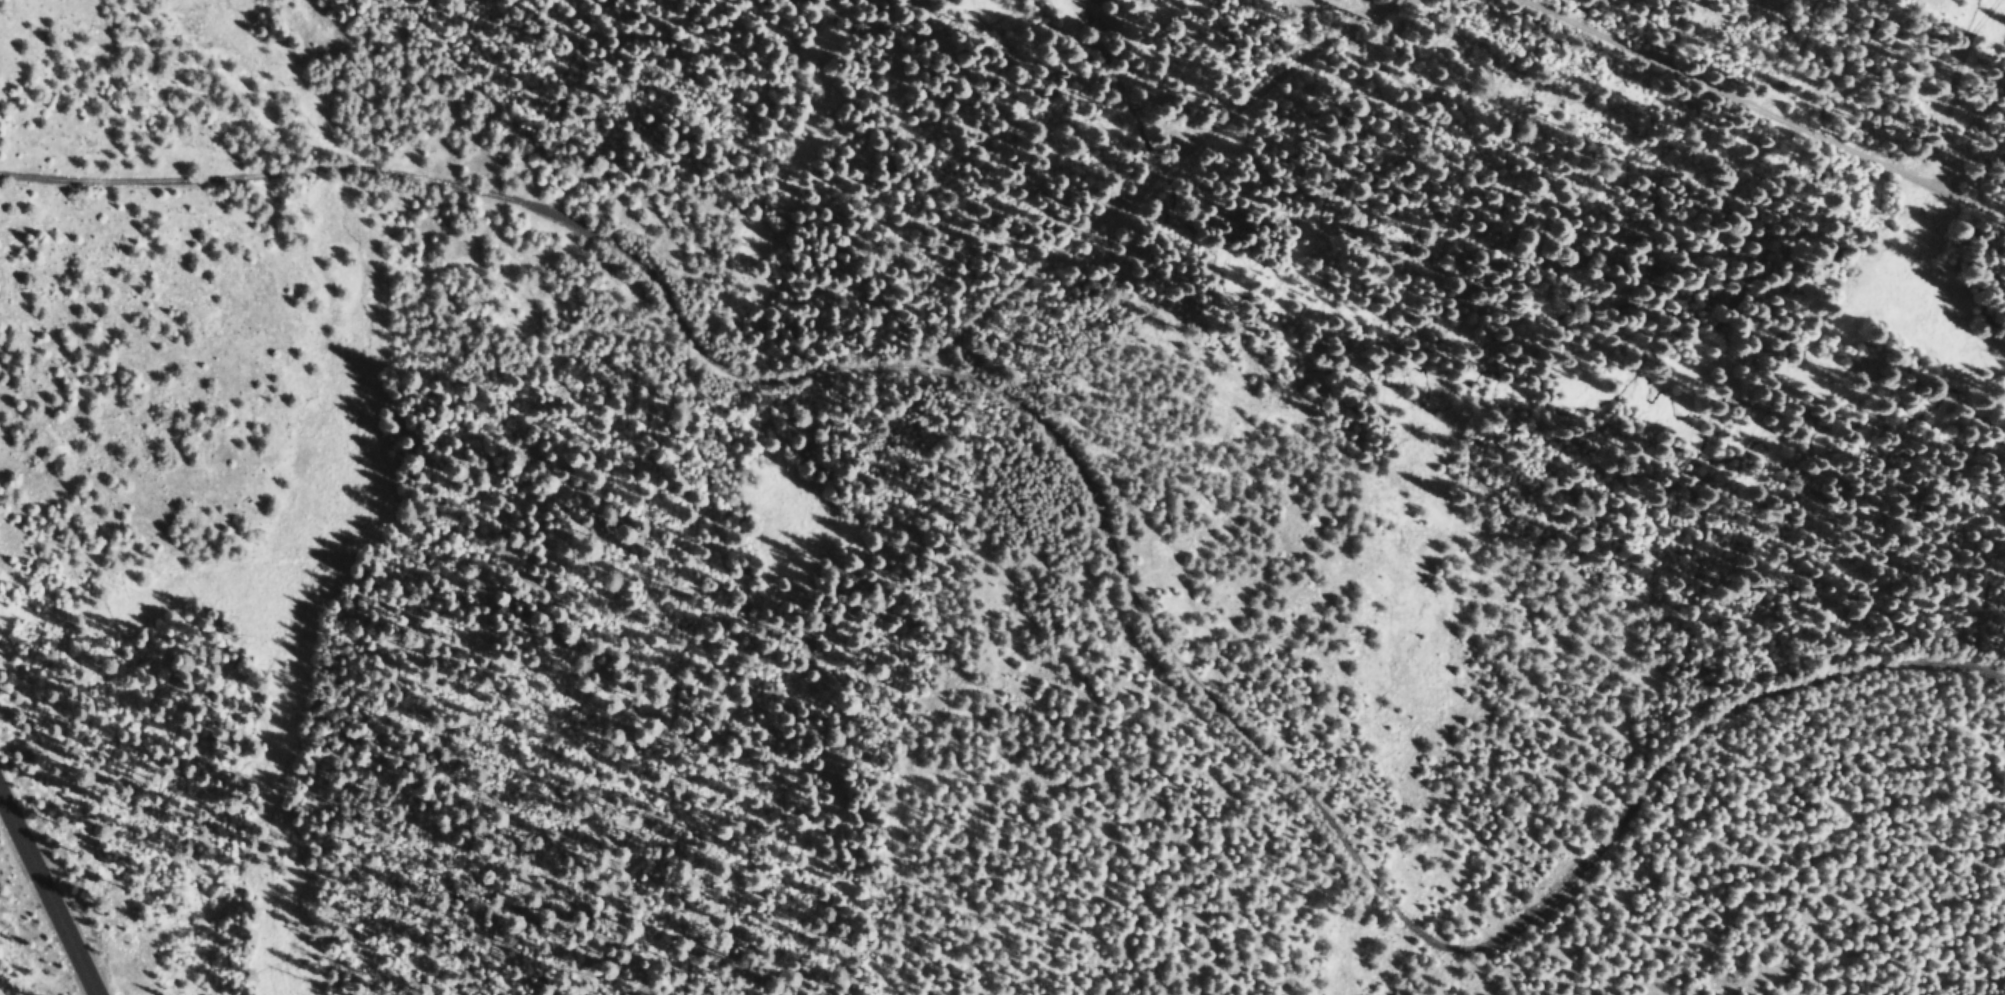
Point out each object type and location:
road: (1309, 8)
road: (1745, 131)
road: (1072, 537)
road: (53, 889)

